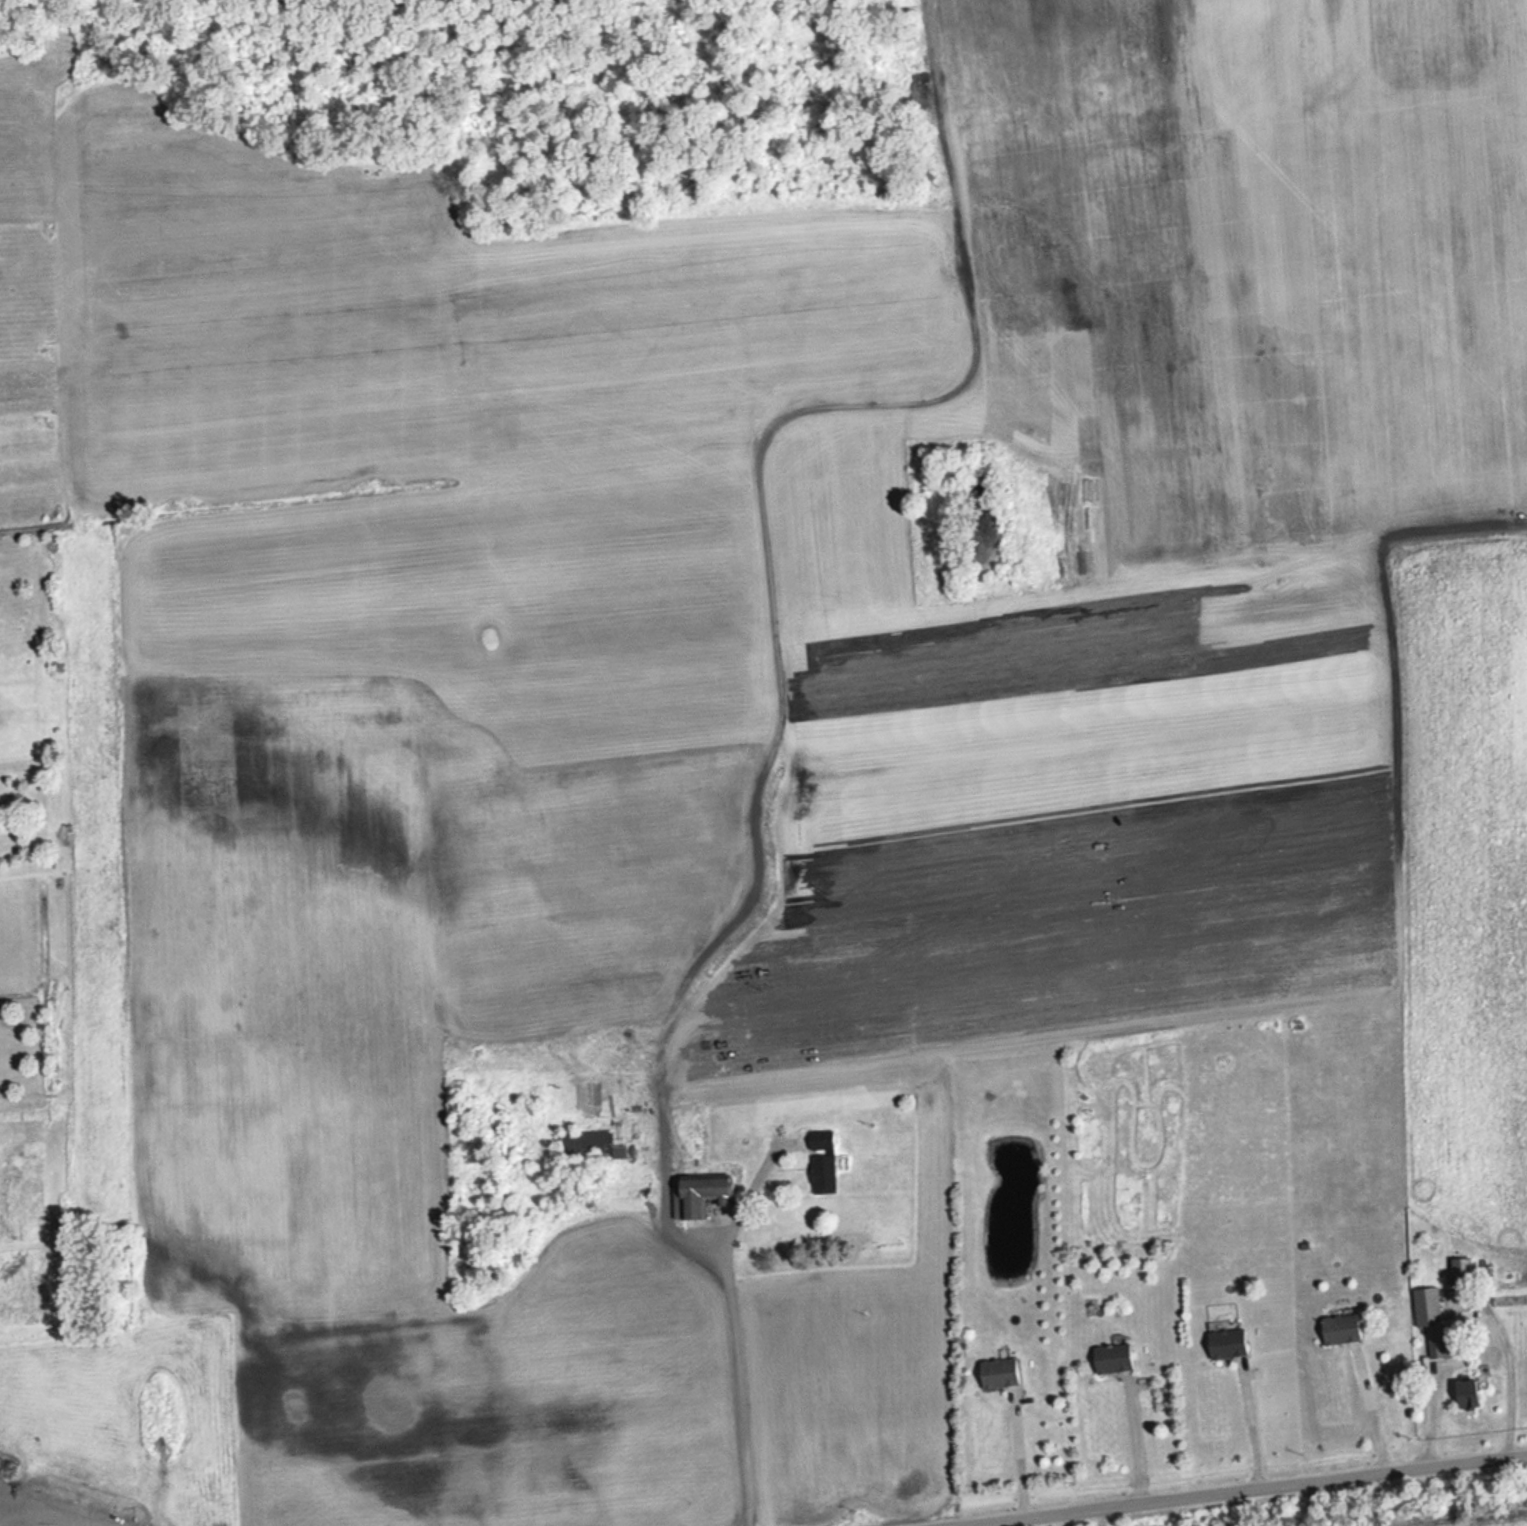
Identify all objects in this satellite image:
building: (589, 1143)
building: (824, 1160)
building: (705, 1194)
building: (1462, 1271)
building: (1428, 1306)
building: (1342, 1328)
road: (733, 1333)
building: (1228, 1343)
building: (1113, 1358)
road: (1510, 1370)
building: (1000, 1372)
building: (1469, 1394)
road: (1372, 1419)
road: (1254, 1436)
road: (1134, 1452)
road: (1020, 1462)
road: (1254, 1492)
road: (47, 1507)

